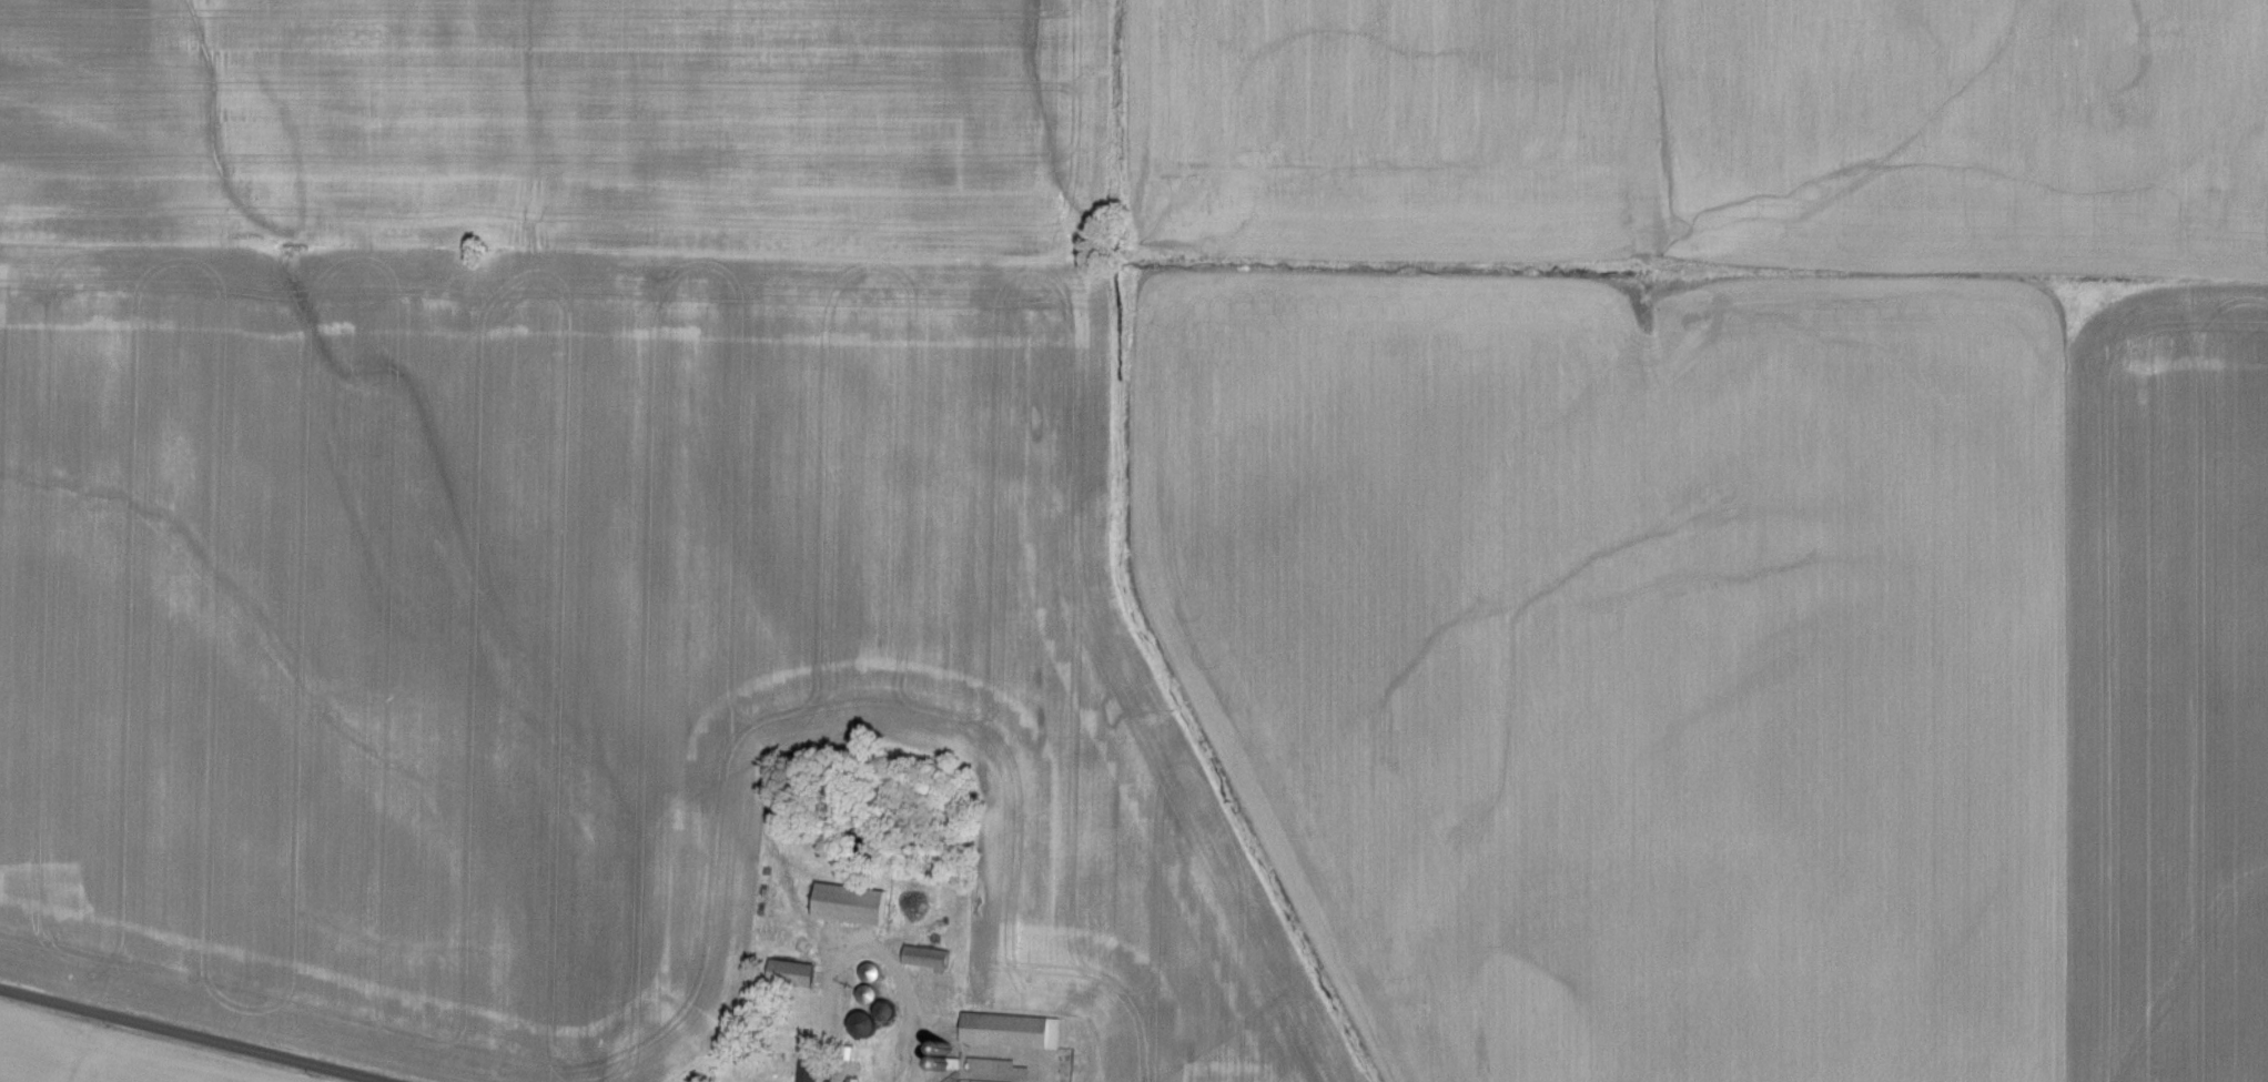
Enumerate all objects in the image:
building: (852, 904)
building: (930, 958)
building: (794, 974)
building: (870, 994)
building: (865, 1025)
building: (1013, 1031)
road: (195, 1034)
crop: (104, 1055)
building: (1001, 1068)
building: (810, 1070)

